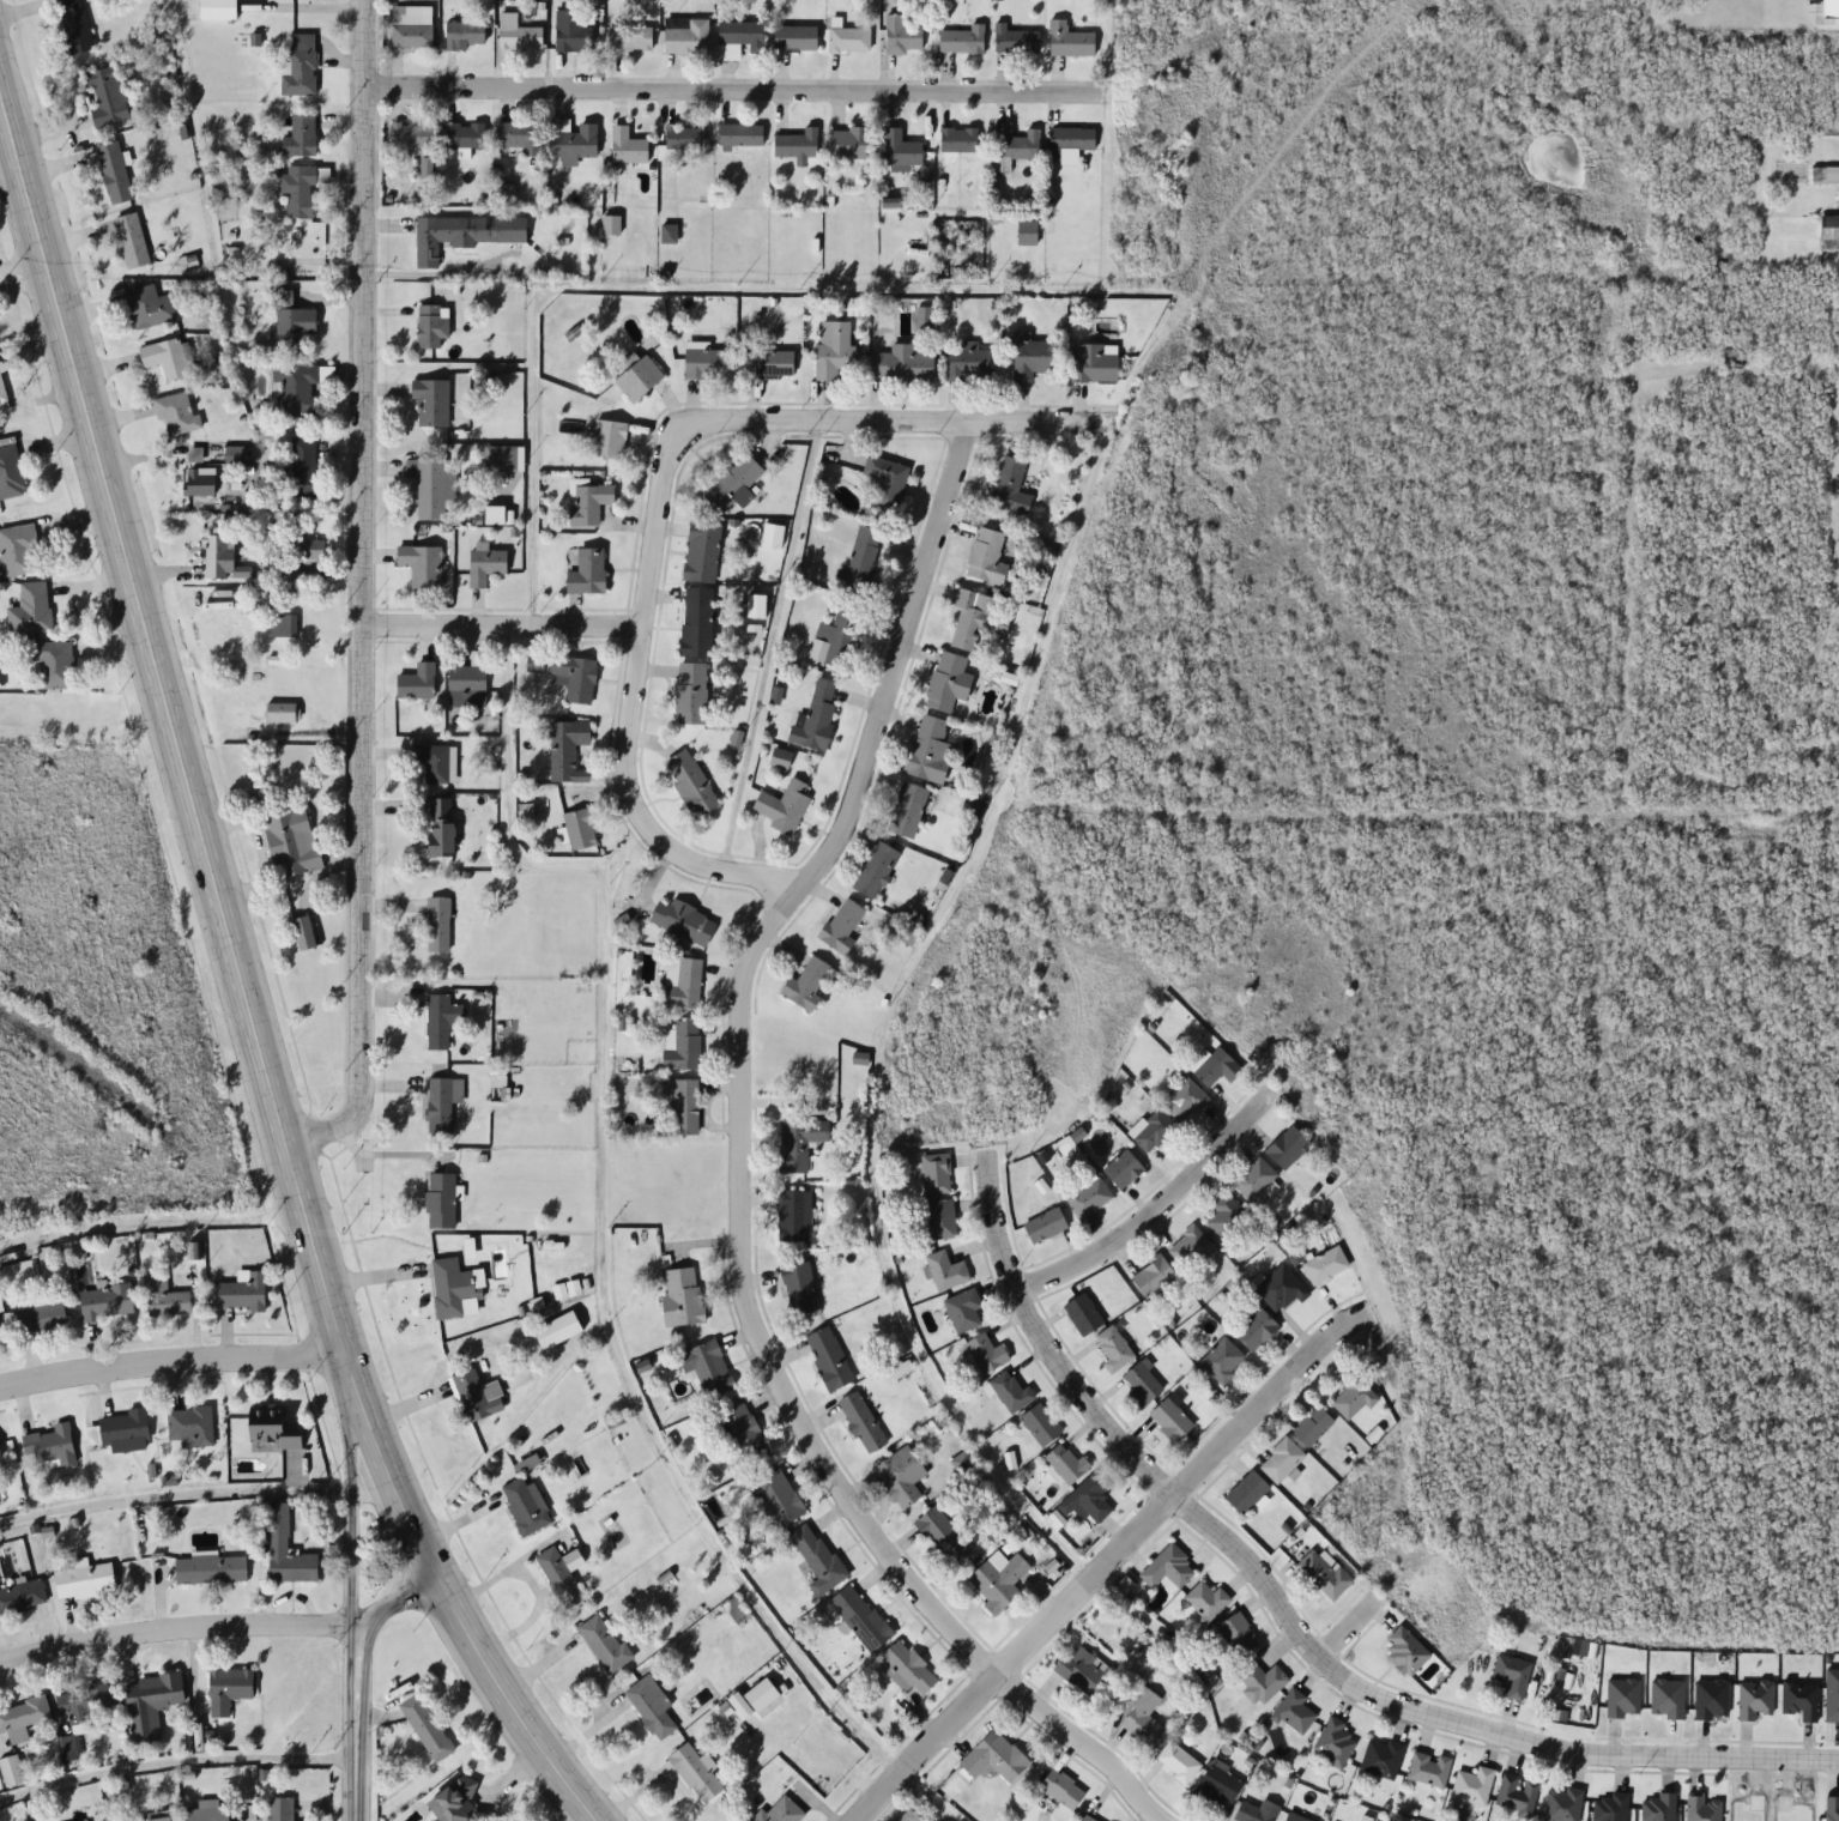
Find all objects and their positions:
building: (1831, 2)
building: (220, 5)
building: (78, 20)
building: (410, 26)
building: (573, 32)
building: (462, 34)
building: (684, 36)
building: (901, 36)
building: (519, 37)
building: (629, 38)
building: (737, 38)
building: (794, 38)
building: (848, 38)
building: (1014, 38)
building: (961, 40)
building: (1067, 40)
building: (303, 56)
building: (113, 86)
road: (724, 93)
building: (302, 123)
building: (409, 135)
building: (520, 135)
building: (738, 135)
building: (684, 138)
building: (460, 139)
building: (957, 139)
building: (1069, 139)
building: (573, 141)
building: (847, 143)
building: (1012, 144)
building: (625, 146)
building: (797, 146)
building: (900, 151)
building: (116, 163)
building: (1825, 175)
building: (300, 181)
building: (465, 225)
building: (134, 230)
building: (1026, 231)
building: (1829, 232)
building: (297, 249)
building: (150, 297)
building: (298, 315)
building: (432, 316)
building: (835, 343)
building: (169, 347)
building: (1036, 350)
building: (707, 355)
building: (772, 355)
building: (903, 355)
building: (1093, 355)
building: (973, 356)
building: (639, 368)
building: (297, 377)
building: (5, 381)
building: (434, 393)
building: (173, 398)
road: (884, 416)
building: (610, 428)
building: (234, 455)
building: (498, 459)
building: (307, 460)
building: (12, 465)
building: (199, 474)
building: (887, 474)
building: (434, 476)
building: (734, 476)
road: (1093, 482)
building: (1009, 485)
building: (593, 495)
building: (704, 540)
building: (869, 540)
building: (19, 542)
building: (309, 542)
building: (220, 544)
building: (488, 555)
building: (425, 556)
building: (985, 556)
building: (589, 561)
road: (349, 594)
building: (31, 603)
building: (698, 612)
building: (286, 615)
building: (973, 621)
building: (282, 625)
road: (489, 625)
building: (840, 631)
road: (769, 647)
building: (537, 653)
building: (56, 655)
building: (533, 663)
building: (576, 668)
building: (418, 672)
building: (470, 676)
building: (945, 683)
building: (694, 684)
building: (283, 704)
building: (817, 709)
road: (622, 710)
building: (570, 742)
building: (927, 749)
building: (780, 751)
building: (437, 752)
building: (692, 775)
building: (784, 799)
building: (905, 809)
building: (583, 818)
building: (441, 819)
building: (294, 831)
road: (196, 840)
building: (875, 869)
building: (682, 912)
building: (438, 913)
building: (304, 924)
building: (840, 925)
building: (686, 975)
building: (804, 984)
building: (440, 1014)
building: (685, 1039)
building: (1215, 1066)
building: (443, 1095)
building: (1184, 1101)
building: (682, 1103)
building: (1155, 1131)
building: (797, 1142)
building: (1286, 1147)
building: (1121, 1168)
road: (727, 1173)
building: (934, 1173)
building: (1253, 1179)
building: (441, 1191)
building: (1088, 1197)
road: (1145, 1209)
building: (1224, 1214)
road: (147, 1215)
building: (793, 1215)
building: (939, 1218)
building: (1043, 1224)
building: (1188, 1246)
road: (599, 1250)
building: (1324, 1265)
building: (945, 1270)
building: (17, 1274)
building: (1151, 1277)
building: (452, 1279)
building: (798, 1287)
building: (1280, 1288)
building: (241, 1291)
building: (163, 1295)
building: (679, 1296)
building: (104, 1301)
building: (962, 1309)
building: (38, 1313)
building: (1082, 1313)
building: (559, 1321)
building: (1253, 1329)
building: (1113, 1348)
building: (985, 1351)
road: (168, 1354)
building: (827, 1357)
building: (1220, 1360)
building: (709, 1367)
building: (473, 1384)
building: (1141, 1384)
building: (1009, 1391)
building: (1351, 1395)
building: (1169, 1418)
building: (860, 1421)
building: (1039, 1424)
building: (1311, 1426)
building: (188, 1427)
building: (270, 1428)
building: (123, 1430)
building: (743, 1432)
building: (49, 1445)
building: (1280, 1459)
building: (1065, 1463)
building: (900, 1476)
road: (174, 1493)
building: (1245, 1493)
building: (775, 1499)
building: (1085, 1499)
building: (530, 1500)
road: (351, 1511)
building: (940, 1536)
building: (285, 1550)
building: (815, 1557)
building: (563, 1567)
road: (1100, 1567)
building: (1167, 1567)
building: (208, 1568)
building: (1323, 1574)
building: (997, 1578)
building: (83, 1579)
building: (20, 1596)
building: (1205, 1599)
building: (858, 1617)
road: (175, 1625)
building: (1236, 1633)
building: (605, 1634)
road: (1289, 1634)
road: (1342, 1637)
building: (1404, 1650)
building: (905, 1668)
building: (1083, 1671)
building: (1511, 1674)
road: (353, 1675)
building: (1259, 1682)
building: (763, 1686)
building: (225, 1688)
road: (501, 1696)
building: (652, 1696)
building: (150, 1702)
building: (80, 1710)
building: (1293, 1711)
building: (20, 1718)
building: (430, 1718)
building: (1142, 1719)
building: (1332, 1742)
building: (993, 1756)
building: (1379, 1758)
road: (176, 1759)
building: (1176, 1762)
building: (695, 1766)
building: (1427, 1768)
building: (10, 1769)
building: (1060, 1781)
building: (1215, 1784)
building: (1471, 1785)
building: (1516, 1793)
building: (461, 1797)
building: (1561, 1804)
building: (1610, 1807)
building: (279, 1808)
building: (778, 1808)
building: (1657, 1808)
building: (1700, 1809)
building: (1254, 1811)
building: (909, 1813)
building: (204, 1814)
building: (159, 1816)
building: (1294, 1817)
building: (1090, 1819)
building: (83, 1820)
building: (85, 1820)
building: (507, 1820)

